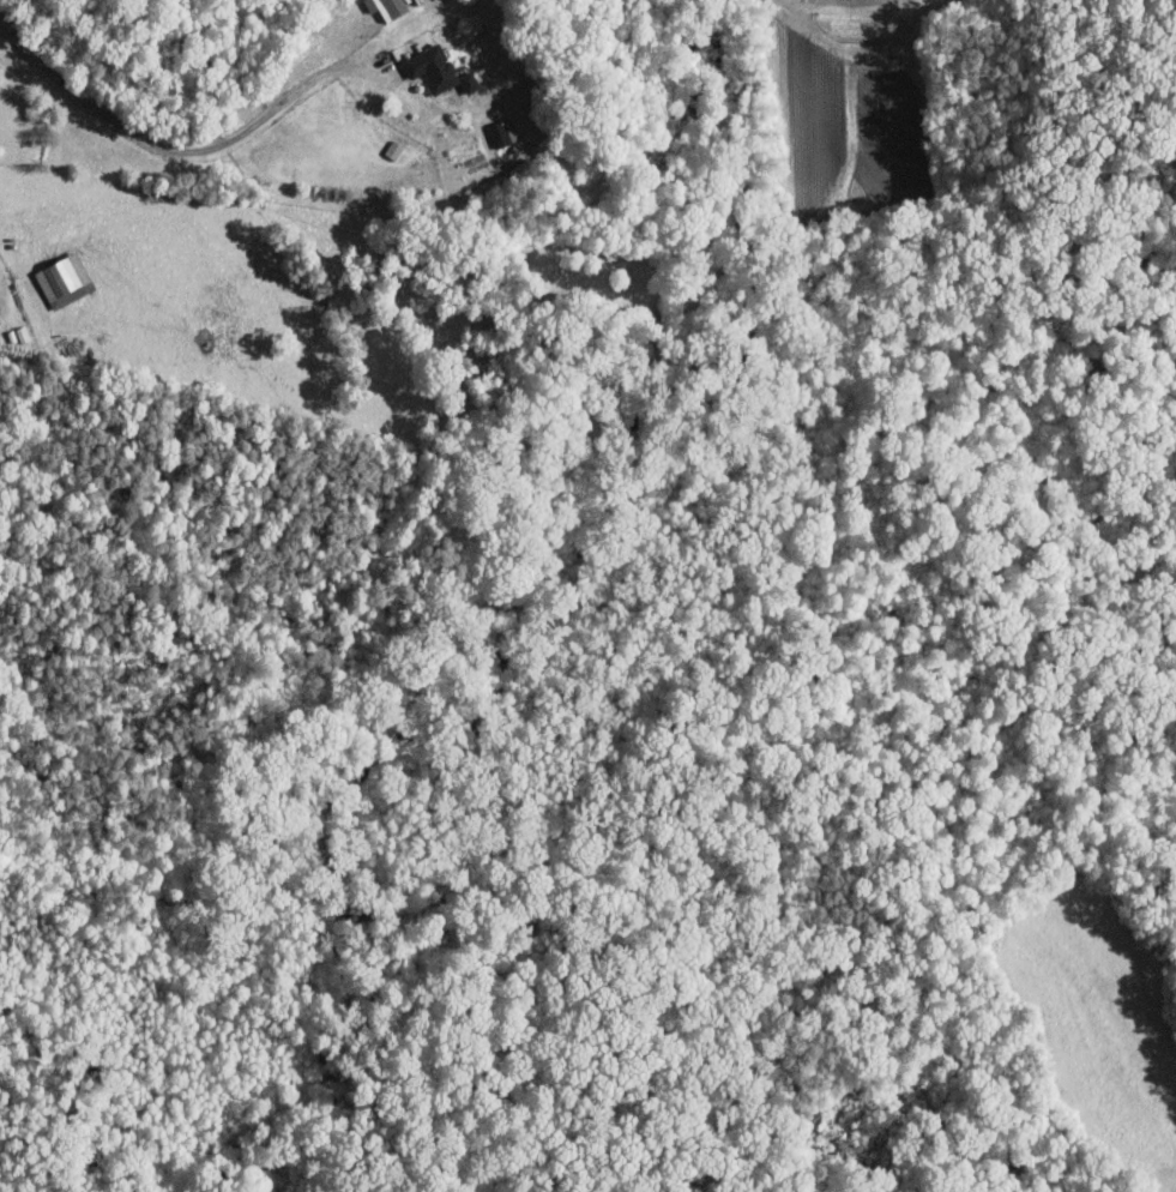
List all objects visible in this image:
building: (386, 7)
building: (432, 67)
building: (469, 82)
building: (502, 132)
road: (161, 143)
building: (64, 281)

